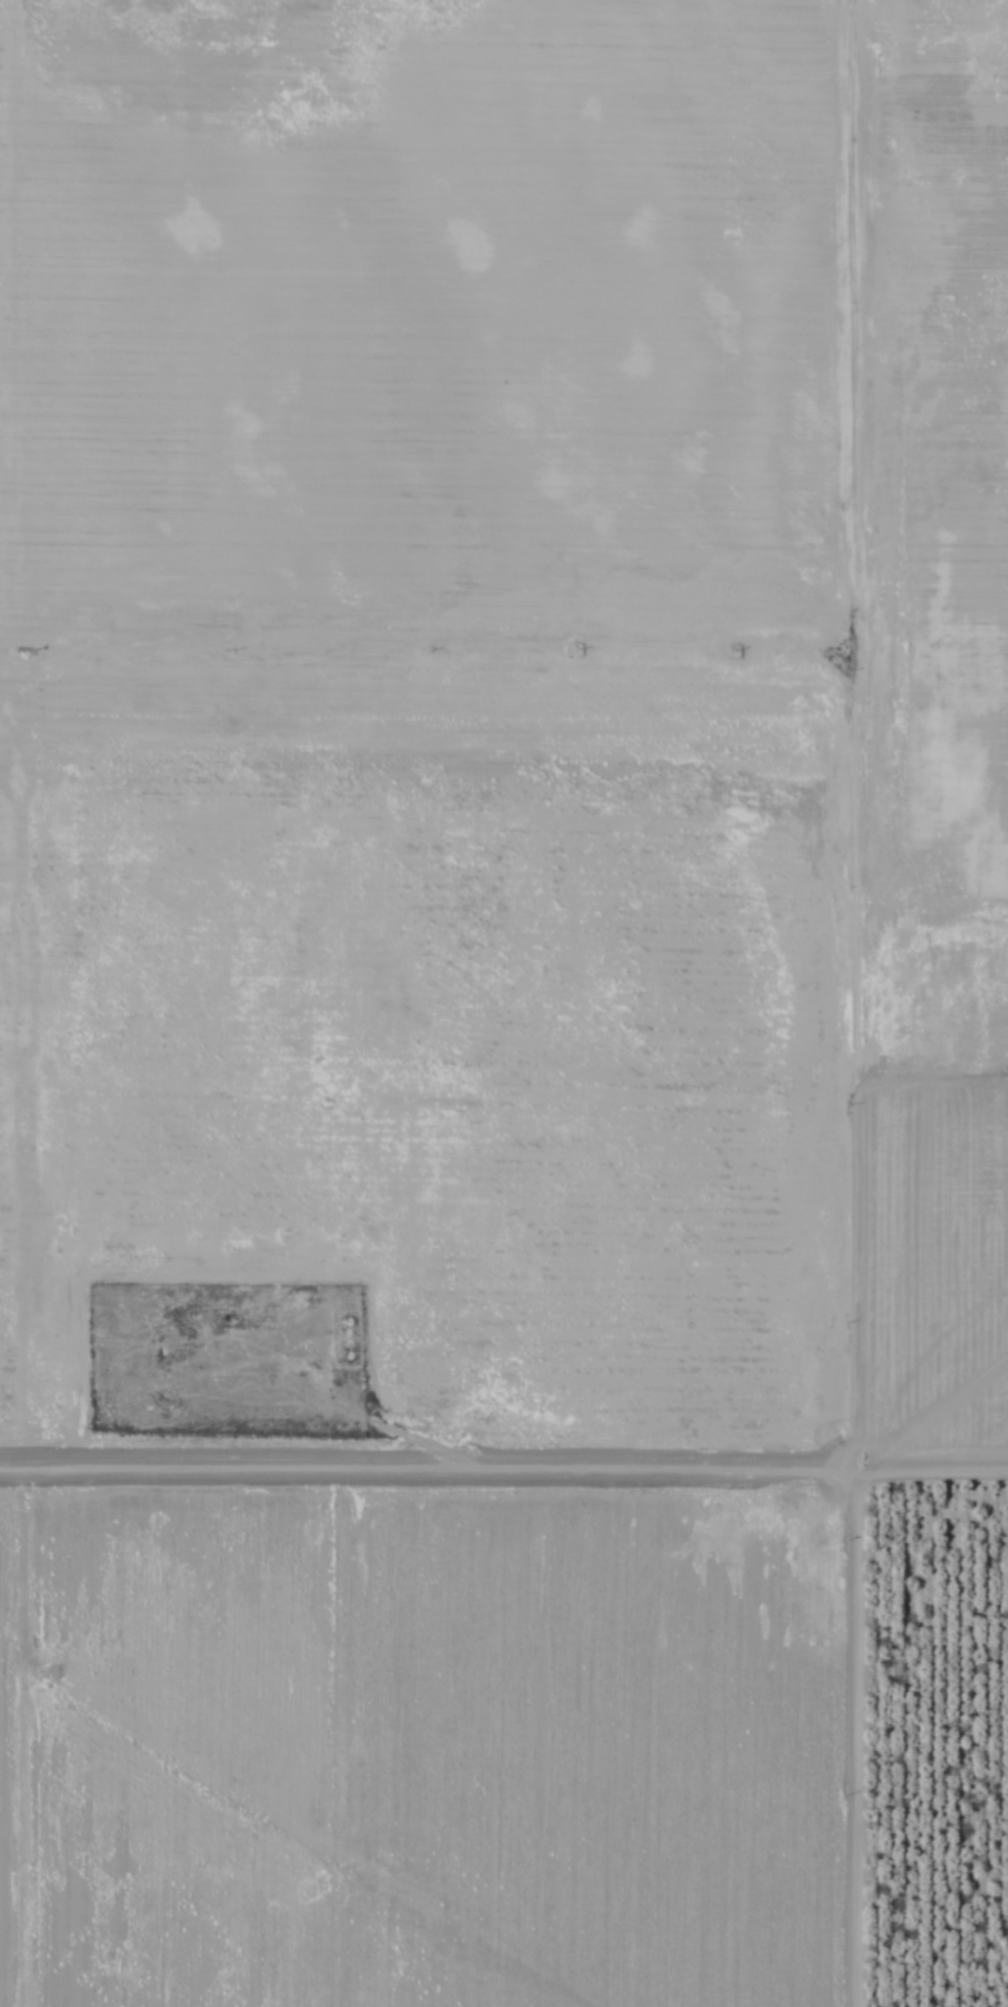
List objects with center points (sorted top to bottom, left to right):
crop: (444, 1395)
road: (400, 1465)
road: (931, 1483)
road: (855, 1717)

